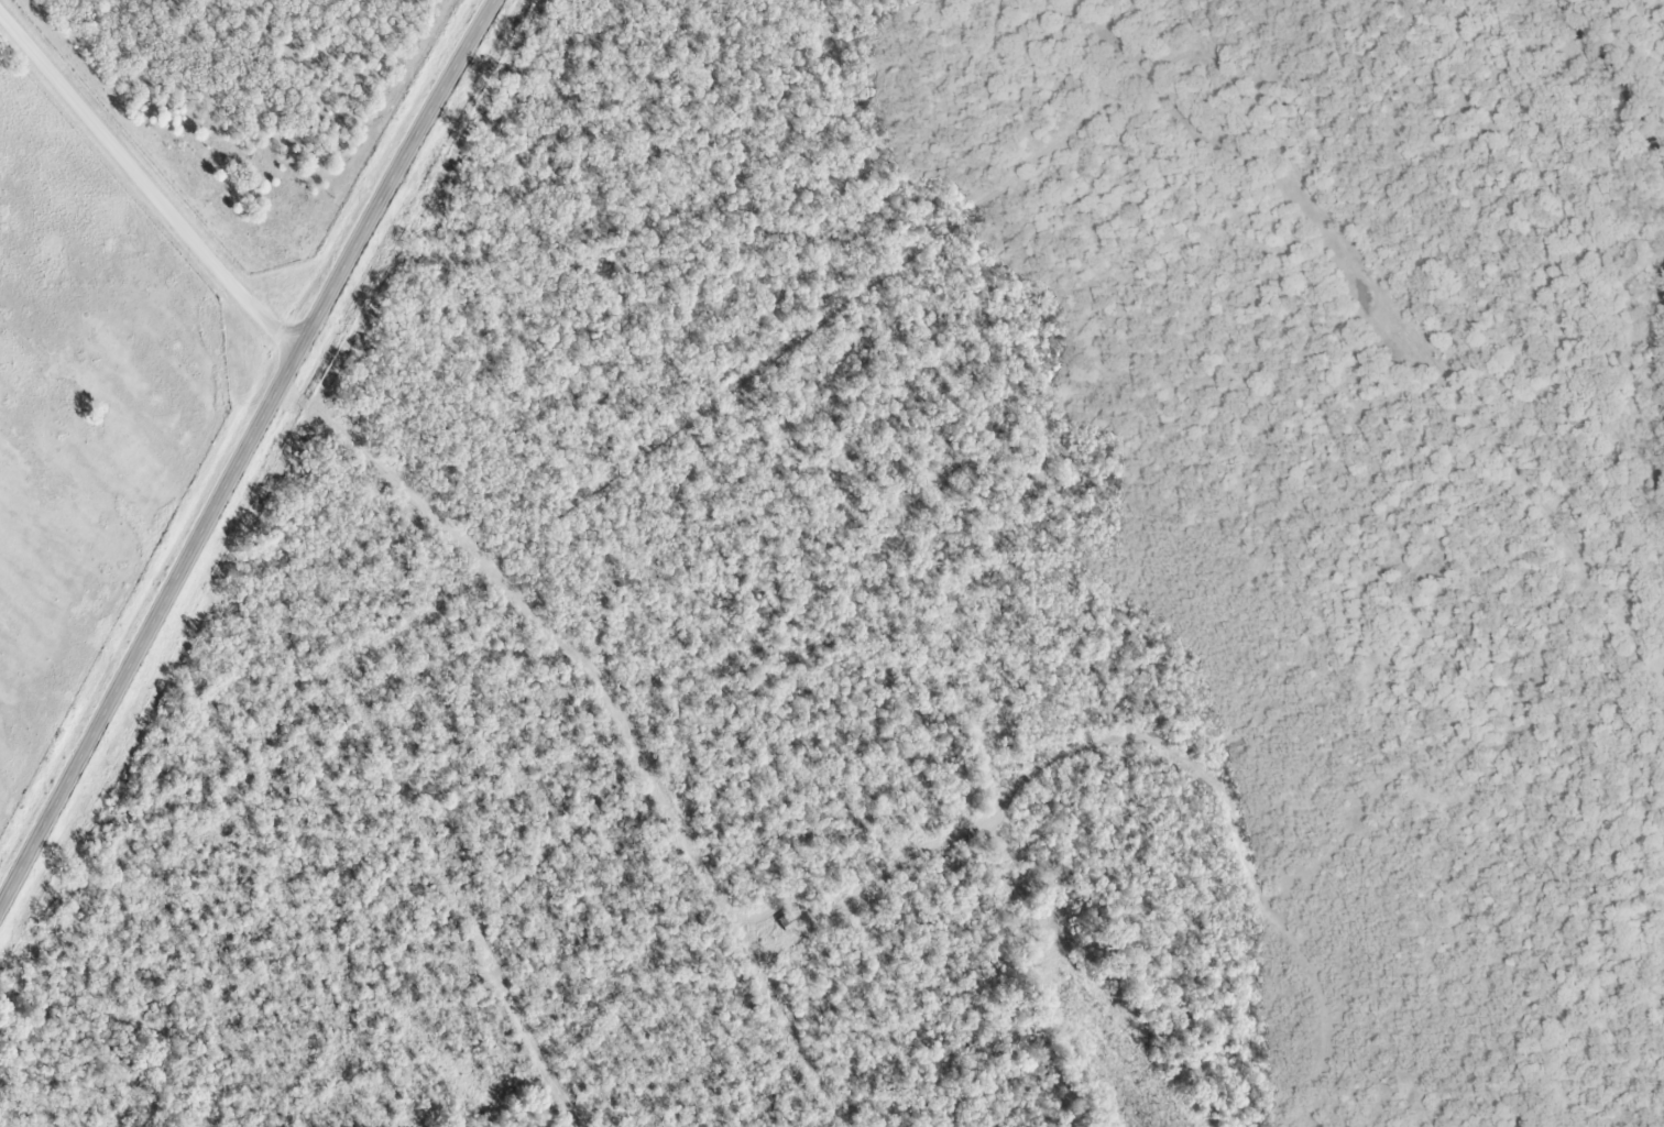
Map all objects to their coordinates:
road: (144, 188)
road: (243, 448)

